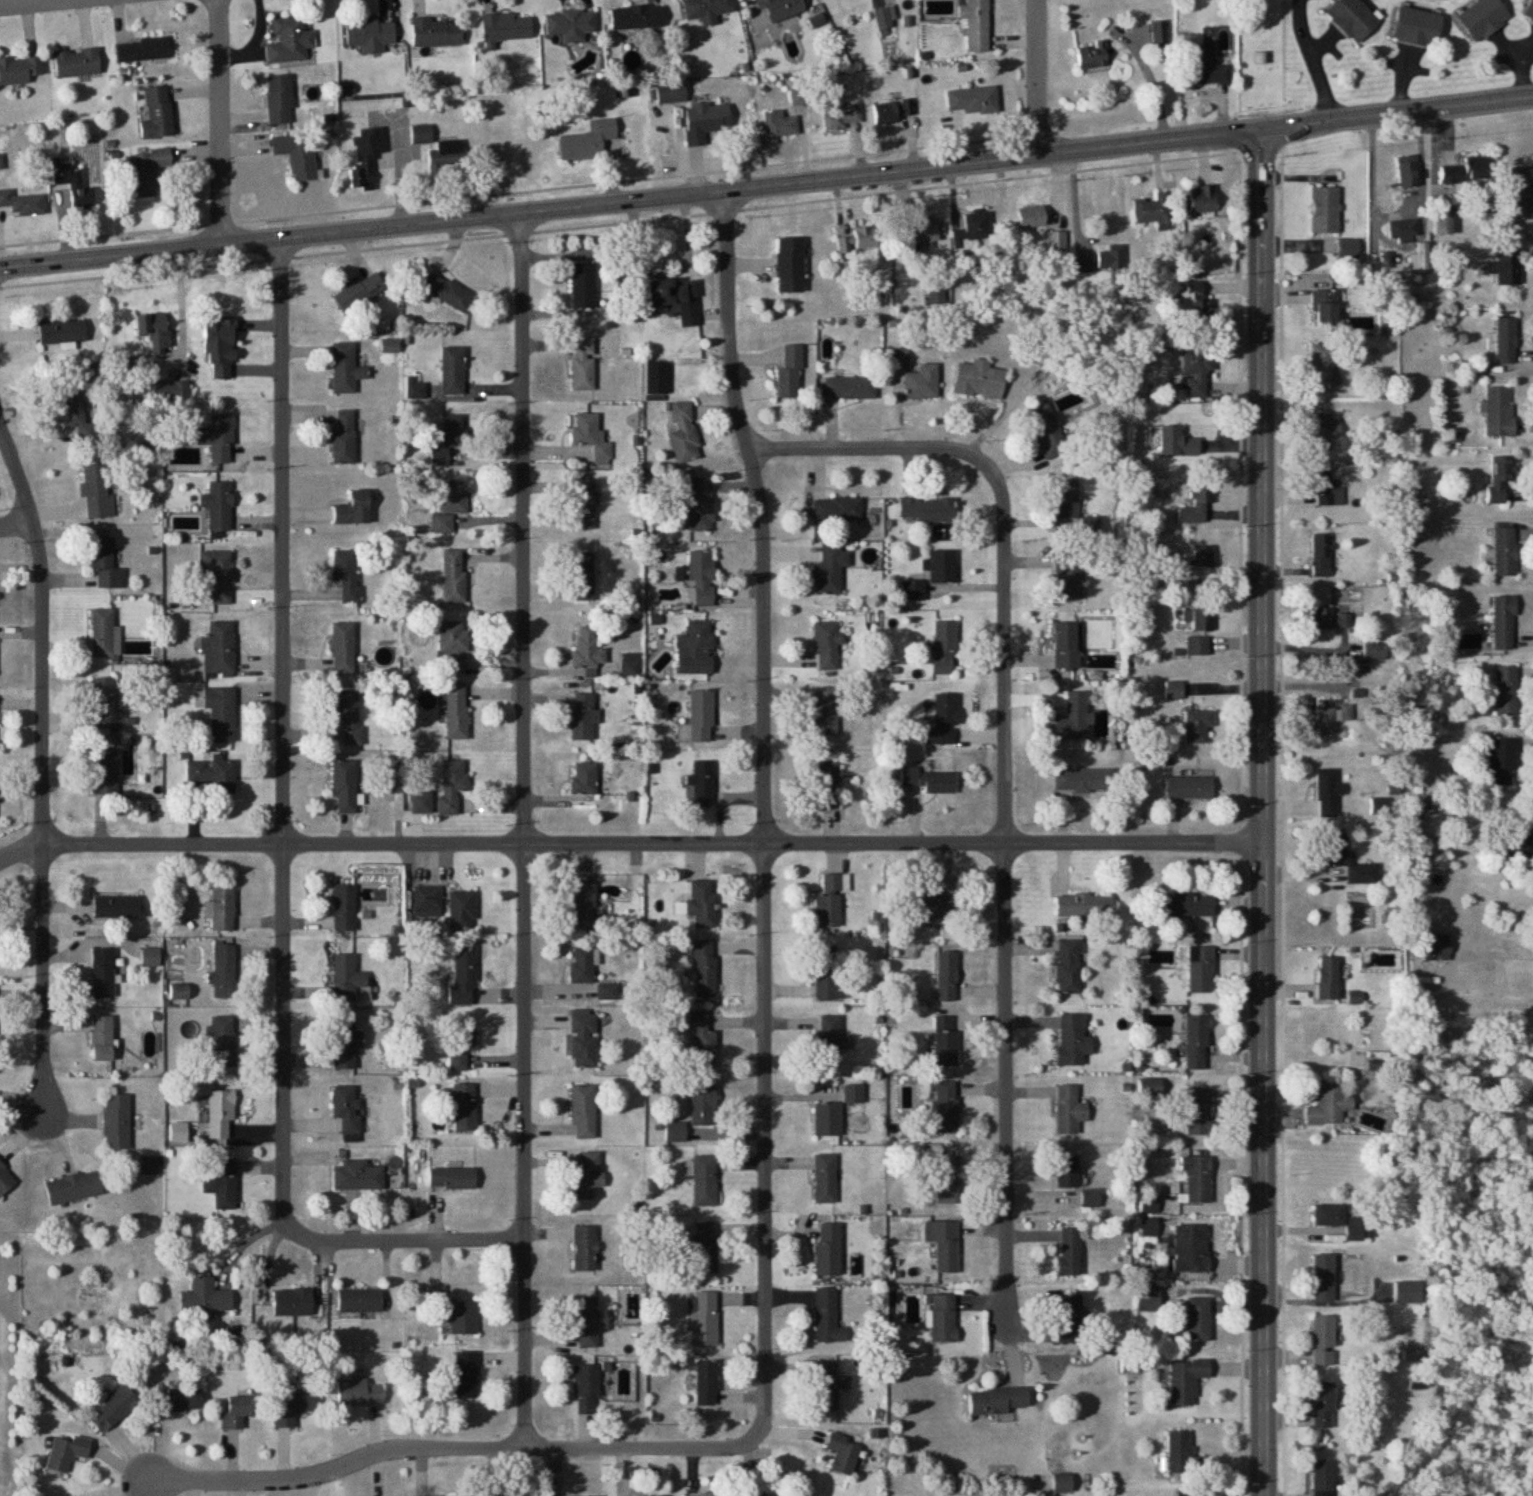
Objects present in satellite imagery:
road: (28, 2)
building: (780, 9)
building: (708, 10)
building: (1529, 12)
building: (637, 17)
building: (884, 18)
building: (1354, 18)
building: (1484, 18)
building: (571, 24)
building: (977, 25)
building: (507, 28)
building: (1419, 28)
building: (437, 32)
building: (370, 35)
building: (1160, 36)
building: (290, 42)
building: (142, 49)
park: (1263, 54)
building: (1093, 56)
road: (1313, 60)
building: (77, 63)
building: (19, 70)
building: (1210, 73)
road: (1035, 76)
building: (279, 100)
building: (973, 100)
road: (1396, 112)
building: (157, 113)
building: (893, 114)
building: (841, 116)
road: (219, 120)
building: (706, 121)
building: (780, 124)
building: (421, 134)
building: (588, 141)
building: (298, 155)
building: (448, 155)
building: (365, 157)
building: (1469, 170)
building: (147, 171)
building: (1407, 173)
road: (629, 175)
building: (73, 184)
building: (1522, 193)
road: (630, 199)
building: (1203, 200)
building: (22, 204)
building: (1152, 209)
building: (1325, 210)
road: (1398, 215)
road: (621, 218)
building: (1032, 218)
building: (1404, 226)
building: (976, 228)
road: (109, 230)
building: (919, 232)
building: (859, 240)
building: (1349, 248)
building: (1112, 258)
building: (1083, 264)
building: (790, 265)
building: (1507, 266)
building: (584, 285)
building: (359, 292)
building: (447, 292)
building: (676, 300)
building: (1325, 307)
building: (1202, 311)
building: (154, 331)
building: (62, 332)
building: (1506, 341)
building: (899, 358)
building: (584, 364)
building: (345, 368)
building: (1323, 368)
building: (452, 370)
building: (91, 372)
building: (1197, 372)
building: (791, 373)
building: (657, 378)
building: (979, 380)
building: (921, 385)
building: (850, 388)
building: (415, 389)
building: (171, 391)
building: (1499, 412)
building: (75, 413)
building: (454, 430)
building: (1048, 431)
building: (1326, 431)
building: (684, 434)
building: (591, 437)
building: (218, 438)
building: (344, 438)
building: (1177, 443)
building: (440, 457)
building: (1500, 477)
building: (1327, 490)
building: (97, 493)
building: (1067, 500)
building: (701, 504)
building: (218, 505)
building: (451, 505)
building: (584, 505)
building: (1199, 505)
building: (837, 508)
building: (353, 509)
building: (927, 509)
road: (15, 521)
building: (1506, 551)
building: (1323, 555)
building: (1204, 557)
building: (106, 564)
building: (943, 566)
building: (830, 569)
building: (347, 574)
building: (219, 575)
building: (454, 576)
building: (583, 576)
building: (1067, 576)
building: (702, 578)
building: (1157, 580)
building: (1200, 619)
building: (1331, 619)
building: (1504, 623)
building: (103, 632)
building: (1066, 645)
building: (453, 646)
building: (827, 646)
building: (1198, 646)
building: (944, 647)
building: (343, 648)
building: (697, 648)
building: (588, 649)
building: (219, 650)
building: (1374, 653)
building: (1175, 690)
building: (1505, 691)
building: (107, 704)
building: (947, 709)
building: (457, 711)
building: (827, 711)
building: (221, 713)
building: (349, 714)
building: (584, 715)
building: (699, 718)
building: (1074, 718)
building: (1326, 720)
building: (1199, 726)
building: (935, 736)
road: (282, 742)
building: (1502, 762)
building: (105, 771)
road: (41, 773)
building: (214, 774)
building: (585, 779)
building: (931, 779)
building: (1085, 780)
building: (453, 784)
building: (829, 784)
road: (1005, 784)
building: (345, 787)
building: (1190, 787)
building: (1328, 792)
road: (1261, 812)
road: (765, 813)
road: (1245, 821)
road: (523, 828)
road: (629, 843)
building: (1345, 859)
building: (831, 901)
building: (428, 902)
building: (703, 903)
building: (585, 905)
building: (1085, 906)
building: (1186, 906)
building: (118, 907)
building: (931, 907)
building: (344, 908)
building: (223, 910)
building: (463, 910)
building: (1437, 946)
building: (1070, 968)
building: (705, 970)
building: (1202, 970)
building: (224, 972)
building: (588, 973)
building: (830, 973)
building: (103, 974)
building: (464, 976)
building: (947, 977)
building: (347, 978)
building: (1329, 979)
building: (103, 1039)
building: (585, 1040)
building: (1074, 1040)
building: (703, 1041)
building: (829, 1041)
building: (223, 1042)
building: (946, 1042)
building: (1198, 1043)
building: (462, 1044)
building: (346, 1045)
building: (855, 1095)
building: (1330, 1104)
building: (703, 1107)
building: (945, 1107)
building: (464, 1108)
building: (348, 1109)
building: (1069, 1111)
building: (1199, 1111)
building: (584, 1112)
building: (221, 1115)
building: (828, 1120)
building: (117, 1122)
building: (677, 1133)
building: (1066, 1172)
building: (358, 1177)
building: (588, 1177)
building: (452, 1179)
building: (825, 1179)
building: (947, 1179)
building: (1198, 1179)
building: (6, 1181)
building: (705, 1181)
building: (222, 1183)
building: (74, 1188)
building: (1091, 1197)
building: (1330, 1214)
building: (1357, 1228)
road: (412, 1241)
building: (944, 1244)
building: (585, 1247)
building: (706, 1247)
building: (1191, 1247)
building: (829, 1249)
building: (1070, 1251)
building: (1324, 1278)
building: (1408, 1292)
building: (438, 1293)
building: (206, 1297)
building: (1149, 1298)
building: (360, 1300)
building: (293, 1302)
building: (464, 1317)
building: (827, 1317)
building: (943, 1317)
building: (704, 1318)
building: (1198, 1319)
building: (1069, 1320)
building: (588, 1321)
building: (1324, 1340)
building: (466, 1375)
building: (1186, 1379)
building: (706, 1383)
building: (830, 1384)
building: (586, 1389)
building: (359, 1392)
building: (177, 1399)
building: (996, 1400)
building: (1324, 1404)
building: (294, 1406)
building: (113, 1408)
building: (238, 1411)
road: (438, 1447)
building: (1180, 1451)
building: (66, 1453)
building: (843, 1453)
building: (1324, 1478)
building: (1063, 1483)
building: (1190, 1492)
building: (708, 1493)

